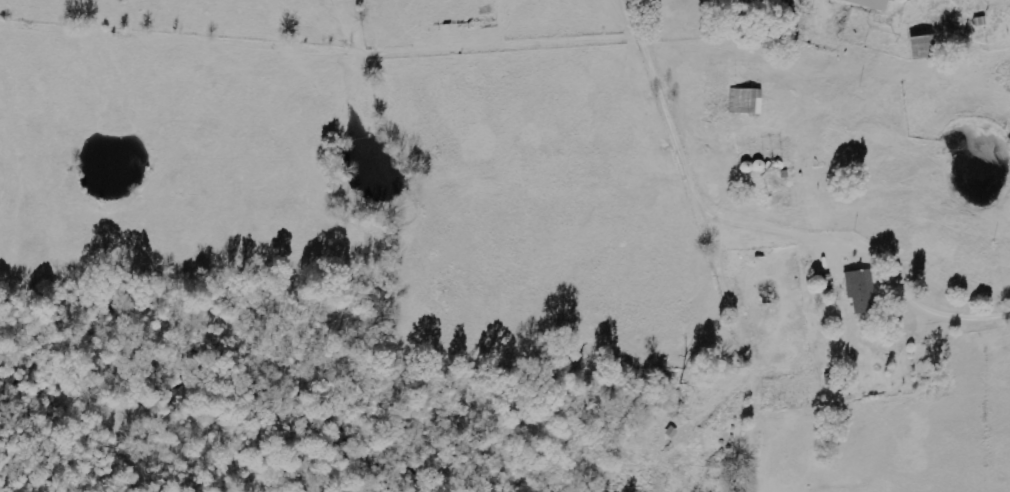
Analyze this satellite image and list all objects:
building: (867, 3)
building: (745, 100)
road: (770, 172)

